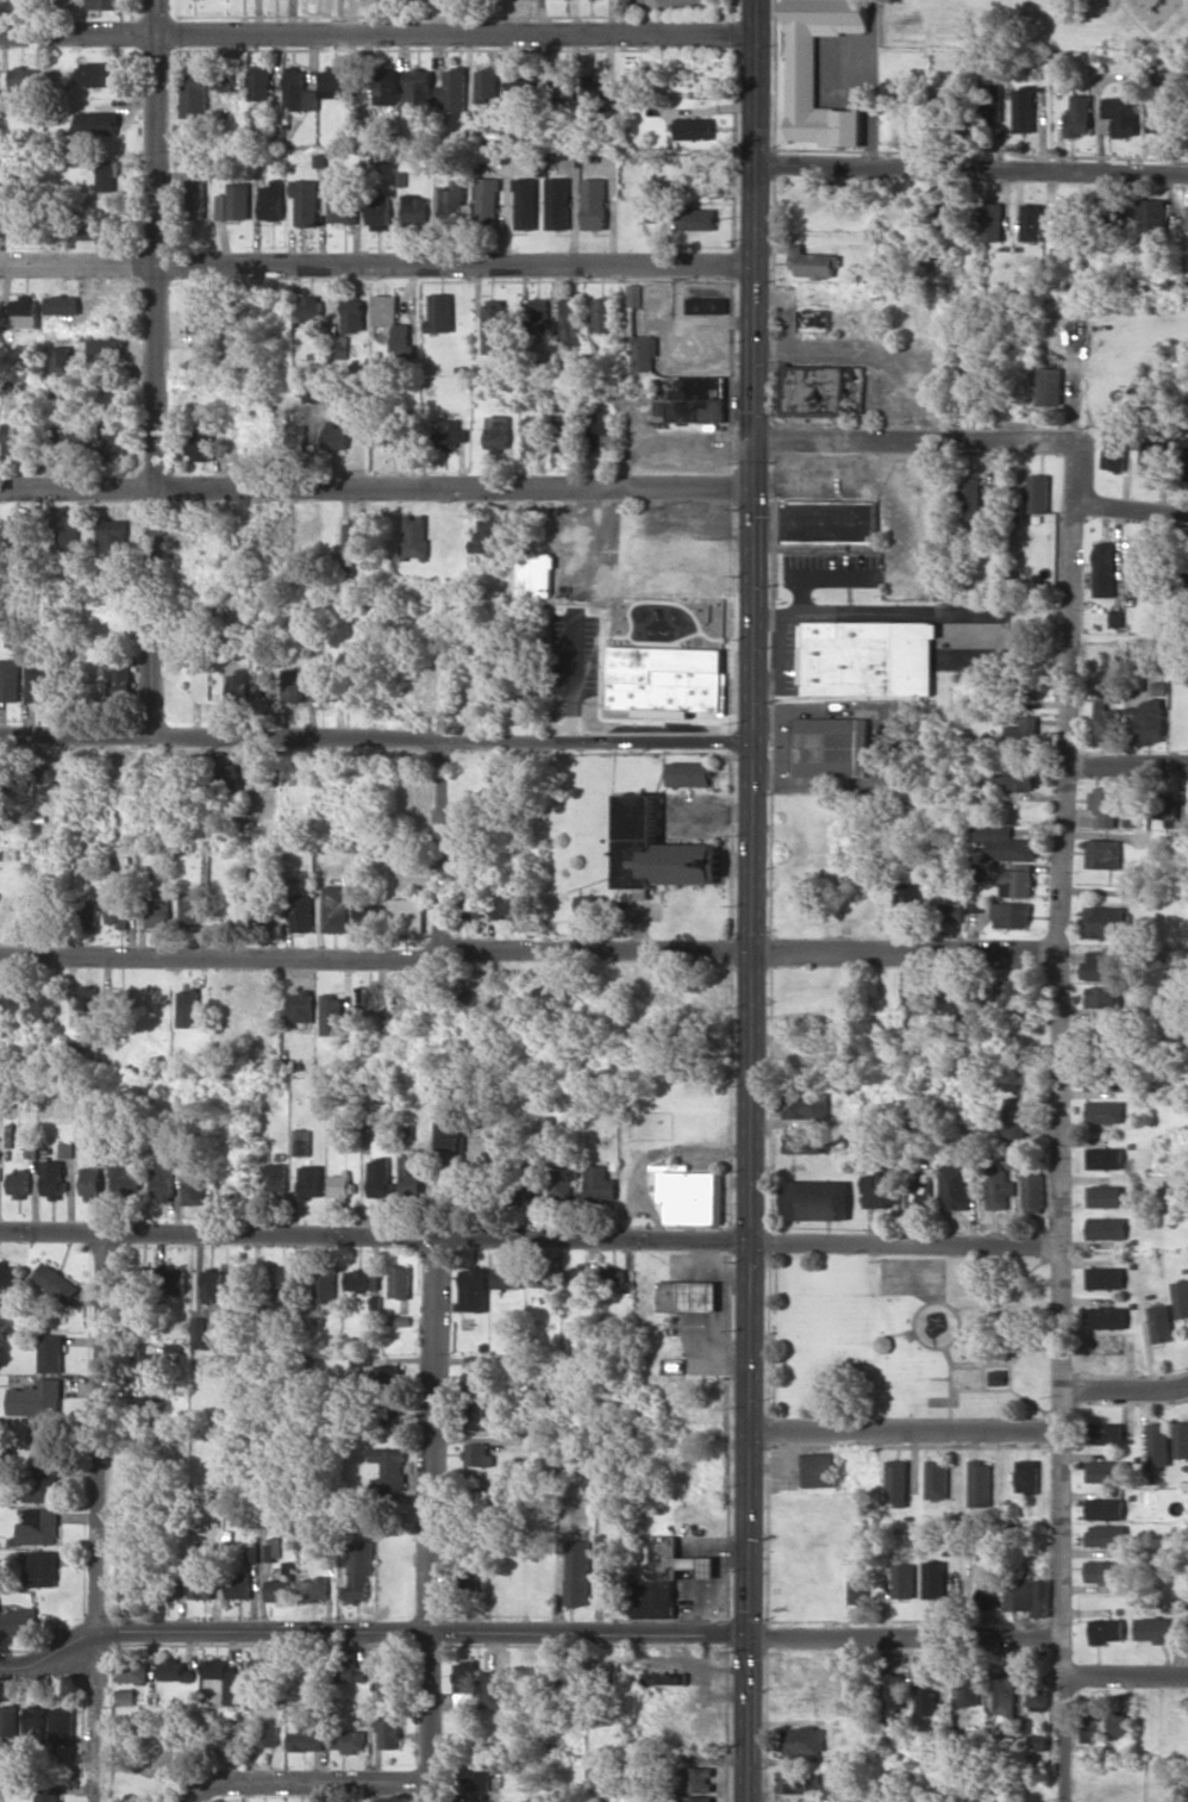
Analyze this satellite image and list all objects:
building: (418, 0)
building: (105, 4)
road: (376, 33)
building: (802, 70)
building: (102, 74)
building: (227, 80)
building: (561, 80)
building: (24, 81)
building: (260, 82)
building: (334, 82)
building: (487, 83)
building: (388, 86)
building: (419, 86)
building: (592, 87)
building: (454, 88)
building: (195, 91)
building: (299, 91)
building: (523, 91)
building: (989, 101)
building: (948, 105)
building: (1023, 108)
building: (1120, 114)
building: (1078, 116)
building: (1157, 118)
building: (98, 123)
building: (694, 127)
road: (973, 167)
building: (108, 175)
building: (238, 200)
building: (270, 200)
building: (306, 200)
building: (454, 201)
building: (488, 202)
building: (526, 202)
building: (557, 202)
building: (594, 202)
building: (220, 207)
building: (417, 208)
building: (344, 211)
building: (950, 211)
building: (380, 212)
building: (20, 216)
building: (698, 218)
building: (1187, 218)
building: (1151, 220)
building: (992, 222)
building: (1031, 222)
building: (1063, 223)
building: (99, 226)
road: (375, 261)
building: (813, 263)
building: (636, 295)
building: (62, 304)
building: (707, 305)
building: (312, 307)
building: (24, 311)
building: (440, 312)
building: (199, 313)
building: (602, 313)
building: (355, 314)
building: (538, 314)
building: (814, 319)
building: (570, 322)
building: (394, 324)
building: (495, 326)
building: (238, 345)
building: (106, 350)
building: (646, 353)
building: (62, 357)
road: (154, 364)
building: (1049, 386)
building: (311, 394)
building: (690, 398)
traffic signals: (754, 410)
building: (294, 423)
building: (599, 430)
building: (449, 432)
building: (498, 432)
building: (536, 432)
building: (565, 434)
building: (334, 435)
building: (18, 436)
building: (392, 437)
building: (112, 439)
traffic signals: (780, 439)
road: (914, 441)
building: (67, 442)
building: (201, 443)
building: (1114, 445)
building: (1149, 459)
building: (1184, 460)
road: (375, 486)
traffic signals: (729, 488)
building: (1038, 493)
building: (971, 499)
road: (1132, 507)
traffic signals: (752, 516)
building: (830, 522)
building: (18, 526)
building: (65, 534)
building: (112, 535)
building: (414, 535)
building: (490, 536)
building: (349, 550)
building: (1105, 568)
building: (537, 574)
building: (577, 616)
building: (867, 657)
building: (123, 673)
building: (1136, 676)
building: (665, 678)
building: (62, 679)
building: (8, 680)
building: (37, 680)
building: (238, 684)
building: (324, 684)
building: (264, 685)
building: (293, 685)
building: (495, 690)
building: (525, 697)
building: (1107, 721)
building: (1150, 721)
building: (1023, 732)
road: (375, 738)
building: (831, 747)
road: (1128, 760)
building: (50, 771)
building: (227, 772)
building: (265, 773)
building: (690, 773)
building: (1017, 777)
building: (1105, 805)
building: (1165, 806)
building: (1003, 843)
road: (443, 844)
building: (659, 850)
building: (1105, 854)
building: (1017, 883)
building: (471, 891)
building: (908, 898)
road: (752, 900)
building: (590, 904)
building: (158, 908)
building: (188, 908)
building: (336, 908)
building: (507, 908)
building: (118, 909)
building: (261, 909)
building: (233, 910)
building: (302, 912)
building: (952, 912)
building: (369, 914)
building: (87, 915)
building: (409, 915)
building: (1012, 915)
building: (1105, 921)
road: (532, 949)
building: (1100, 966)
building: (471, 993)
building: (920, 993)
building: (550, 994)
building: (943, 996)
building: (1019, 996)
building: (86, 997)
building: (364, 997)
building: (1102, 997)
building: (14, 999)
building: (43, 1003)
building: (301, 1005)
building: (120, 1006)
building: (188, 1006)
building: (332, 1014)
building: (1105, 1079)
building: (806, 1105)
building: (1103, 1111)
building: (1014, 1116)
road: (1061, 1122)
building: (549, 1124)
building: (449, 1139)
building: (301, 1141)
building: (836, 1143)
building: (805, 1145)
building: (65, 1149)
building: (488, 1149)
building: (1105, 1156)
building: (412, 1172)
building: (162, 1174)
building: (52, 1178)
building: (270, 1179)
building: (309, 1180)
building: (561, 1180)
building: (599, 1180)
building: (125, 1181)
building: (19, 1183)
building: (92, 1183)
building: (340, 1185)
building: (955, 1186)
building: (998, 1186)
building: (880, 1191)
building: (193, 1192)
building: (1032, 1192)
building: (527, 1195)
building: (693, 1196)
building: (1105, 1196)
building: (817, 1199)
building: (1107, 1228)
road: (529, 1240)
building: (10, 1273)
building: (507, 1276)
building: (579, 1276)
building: (542, 1277)
building: (1105, 1277)
building: (137, 1278)
building: (613, 1279)
building: (173, 1280)
building: (362, 1280)
building: (56, 1282)
building: (400, 1282)
building: (213, 1283)
building: (282, 1286)
building: (324, 1286)
building: (473, 1289)
building: (688, 1296)
building: (1181, 1298)
building: (218, 1316)
building: (1106, 1317)
building: (400, 1320)
building: (1161, 1323)
building: (199, 1332)
park: (909, 1334)
building: (883, 1343)
building: (51, 1352)
building: (148, 1364)
building: (389, 1373)
building: (480, 1373)
building: (996, 1377)
road: (1125, 1391)
building: (37, 1398)
building: (148, 1409)
building: (392, 1411)
building: (475, 1416)
road: (905, 1432)
building: (1107, 1433)
building: (49, 1439)
building: (1181, 1439)
building: (1159, 1445)
building: (480, 1454)
building: (392, 1466)
building: (820, 1470)
building: (1108, 1471)
building: (1027, 1476)
building: (937, 1479)
building: (898, 1483)
building: (980, 1483)
building: (44, 1484)
building: (499, 1490)
building: (1106, 1508)
road: (95, 1515)
road: (431, 1521)
building: (40, 1527)
building: (1107, 1534)
building: (274, 1548)
building: (255, 1552)
building: (43, 1567)
building: (1102, 1571)
building: (362, 1572)
building: (579, 1572)
building: (665, 1577)
building: (934, 1579)
building: (905, 1580)
building: (204, 1582)
building: (240, 1584)
building: (131, 1585)
building: (319, 1588)
building: (613, 1588)
building: (281, 1589)
building: (990, 1589)
building: (858, 1591)
building: (1027, 1591)
building: (19, 1621)
building: (1153, 1628)
road: (212, 1629)
building: (1107, 1629)
road: (588, 1633)
traffic signals: (746, 1638)
road: (903, 1638)
building: (135, 1669)
building: (348, 1669)
building: (175, 1670)
building: (267, 1670)
building: (605, 1670)
building: (568, 1671)
road: (1127, 1673)
building: (308, 1675)
building: (390, 1678)
building: (664, 1678)
building: (231, 1682)
building: (468, 1685)
building: (496, 1688)
building: (1040, 1689)
building: (1006, 1695)
building: (127, 1696)
building: (893, 1697)
building: (8, 1720)
building: (37, 1722)
building: (1118, 1723)
building: (64, 1725)
building: (1090, 1726)
building: (311, 1732)
building: (390, 1732)
building: (269, 1733)
building: (350, 1740)
building: (805, 1740)
building: (1040, 1742)
building: (174, 1754)
building: (692, 1778)
building: (479, 1779)
road: (301, 1781)
building: (800, 1782)
road: (1127, 1788)
building: (49, 1796)
building: (695, 1798)

